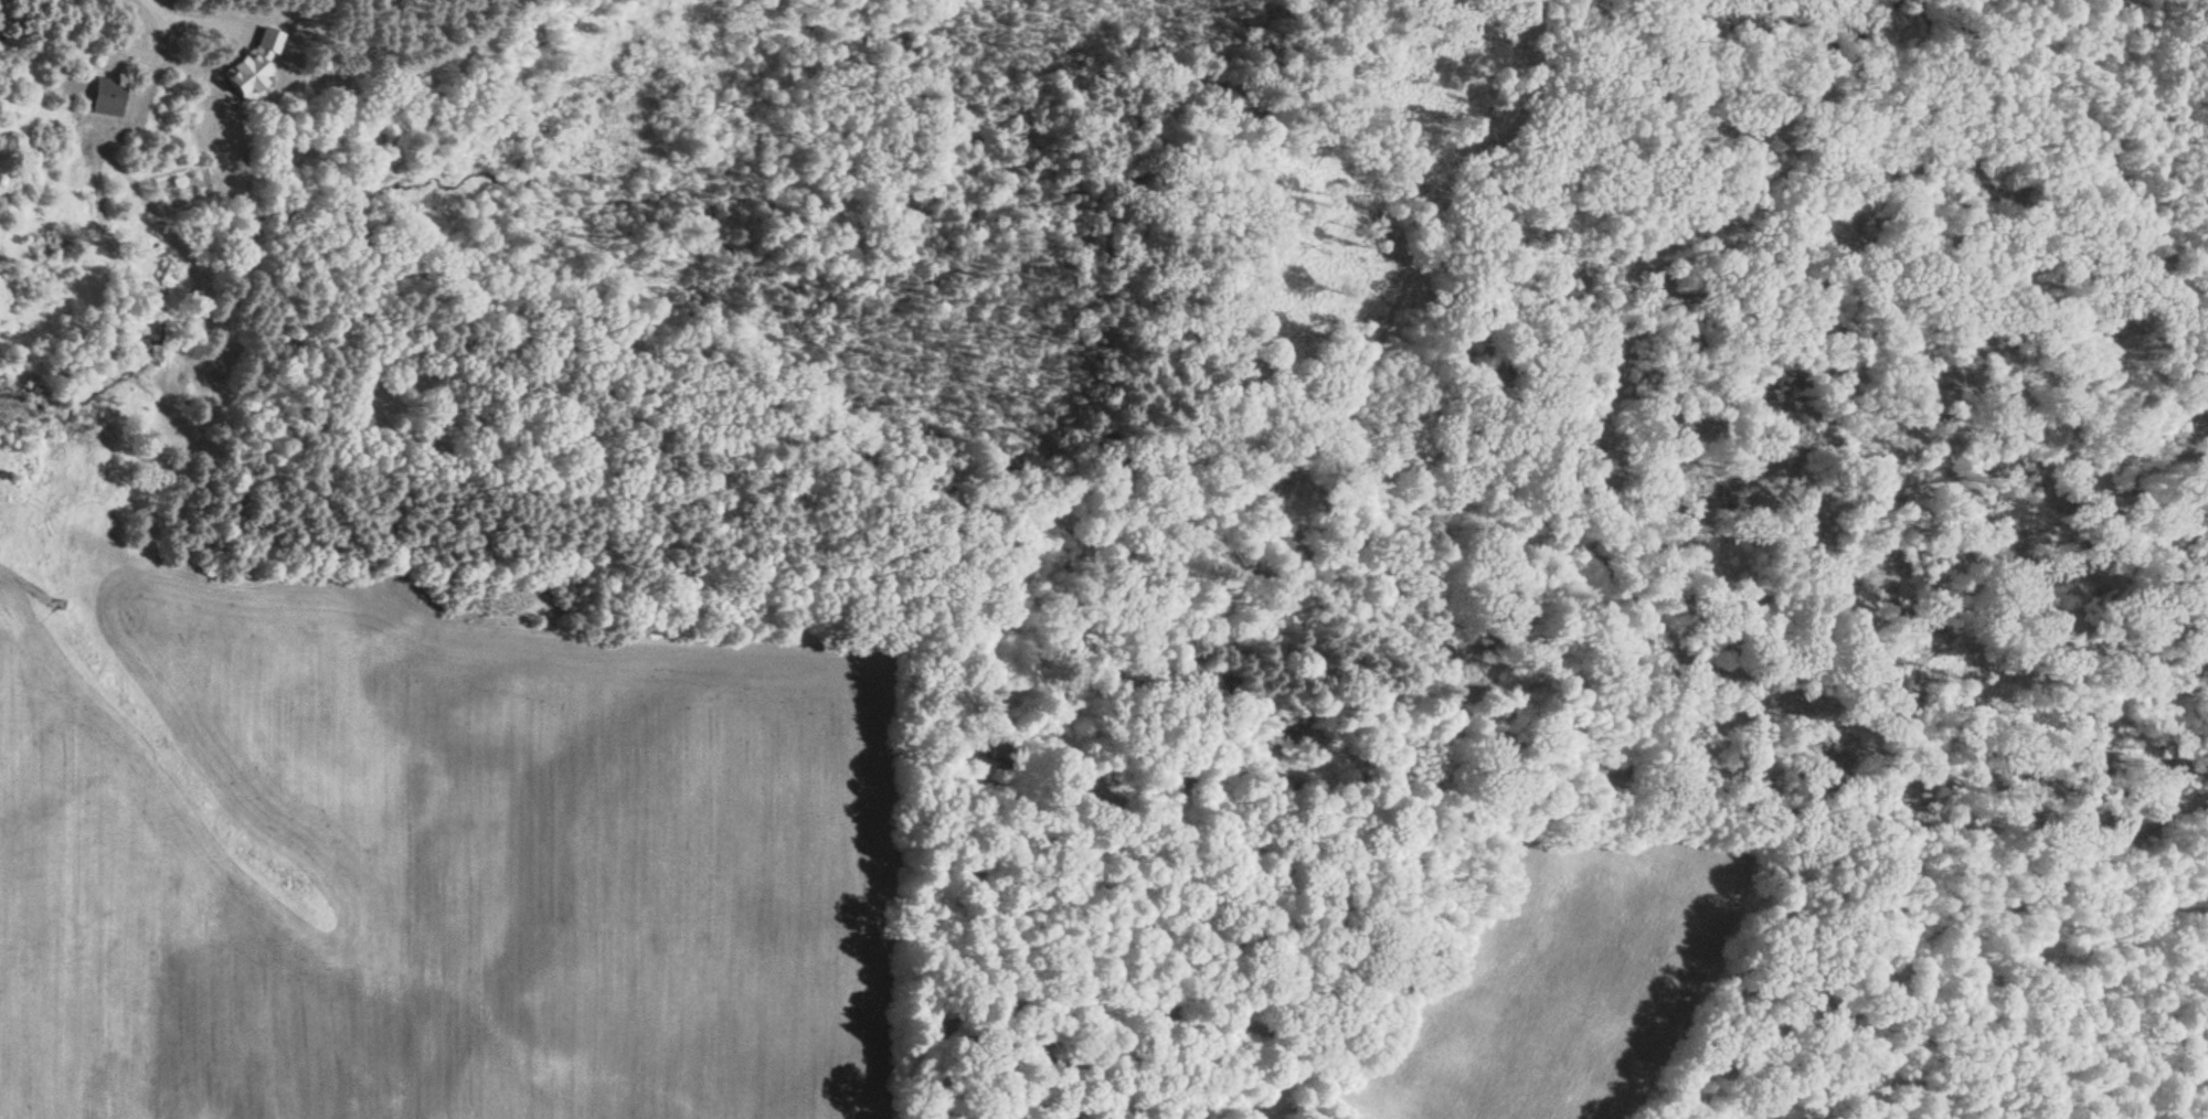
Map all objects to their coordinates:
building: (252, 64)
building: (105, 96)

